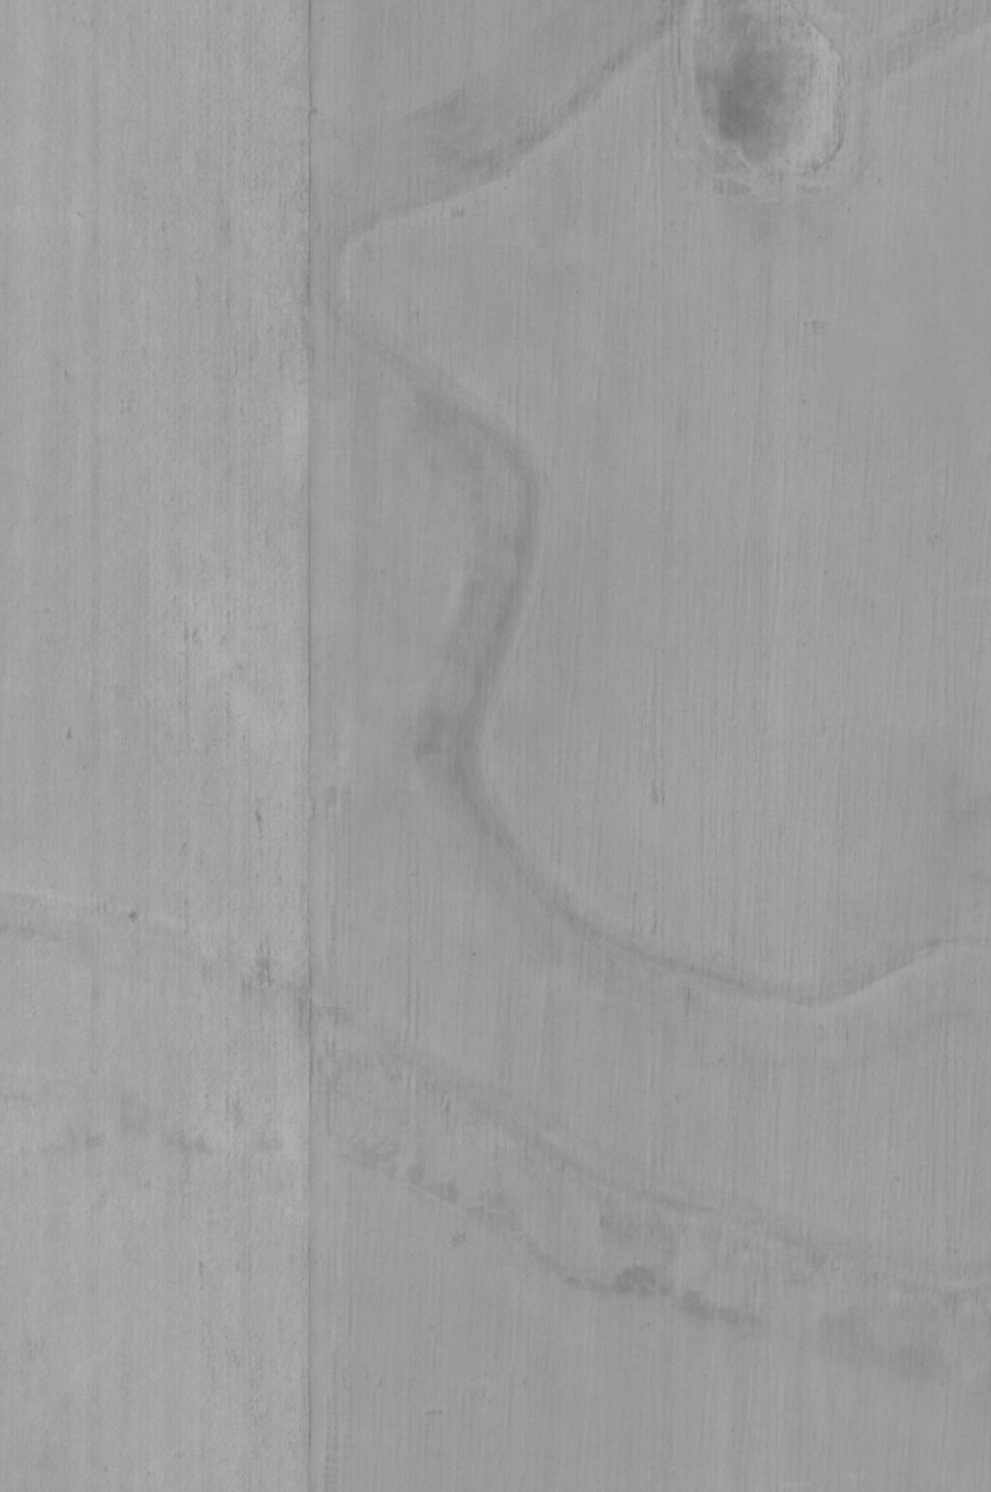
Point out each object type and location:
crop: (495, 746)

